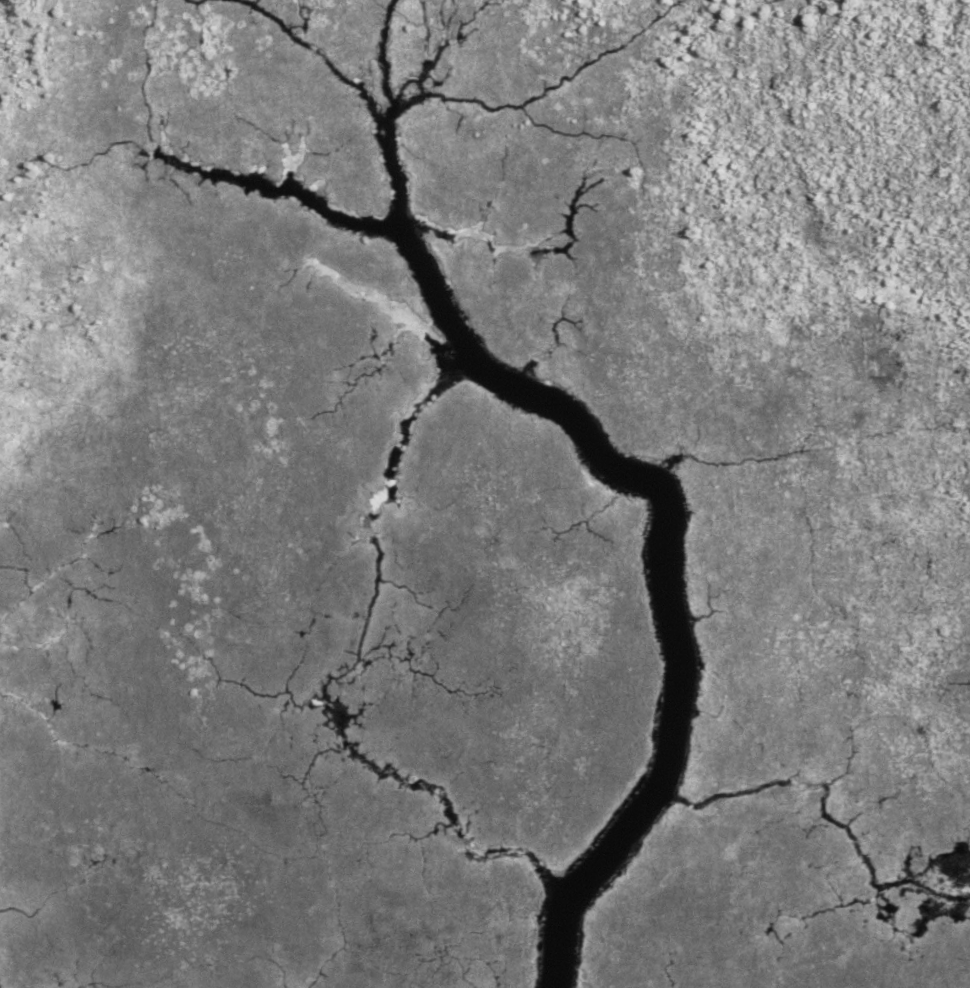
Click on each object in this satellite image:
river: (670, 637)

